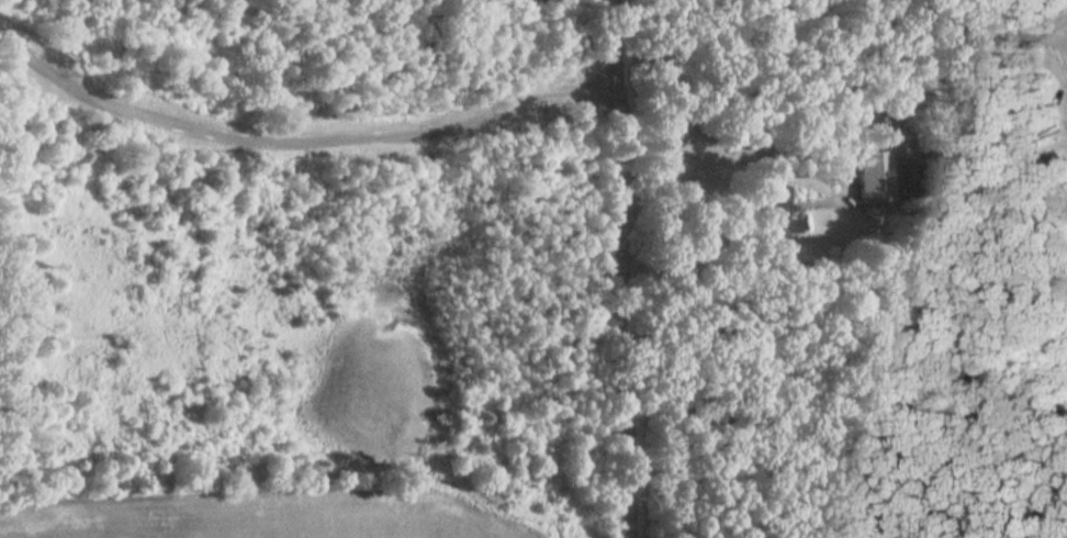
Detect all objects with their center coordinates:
road: (847, 115)
road: (300, 145)
building: (874, 176)
road: (624, 269)

